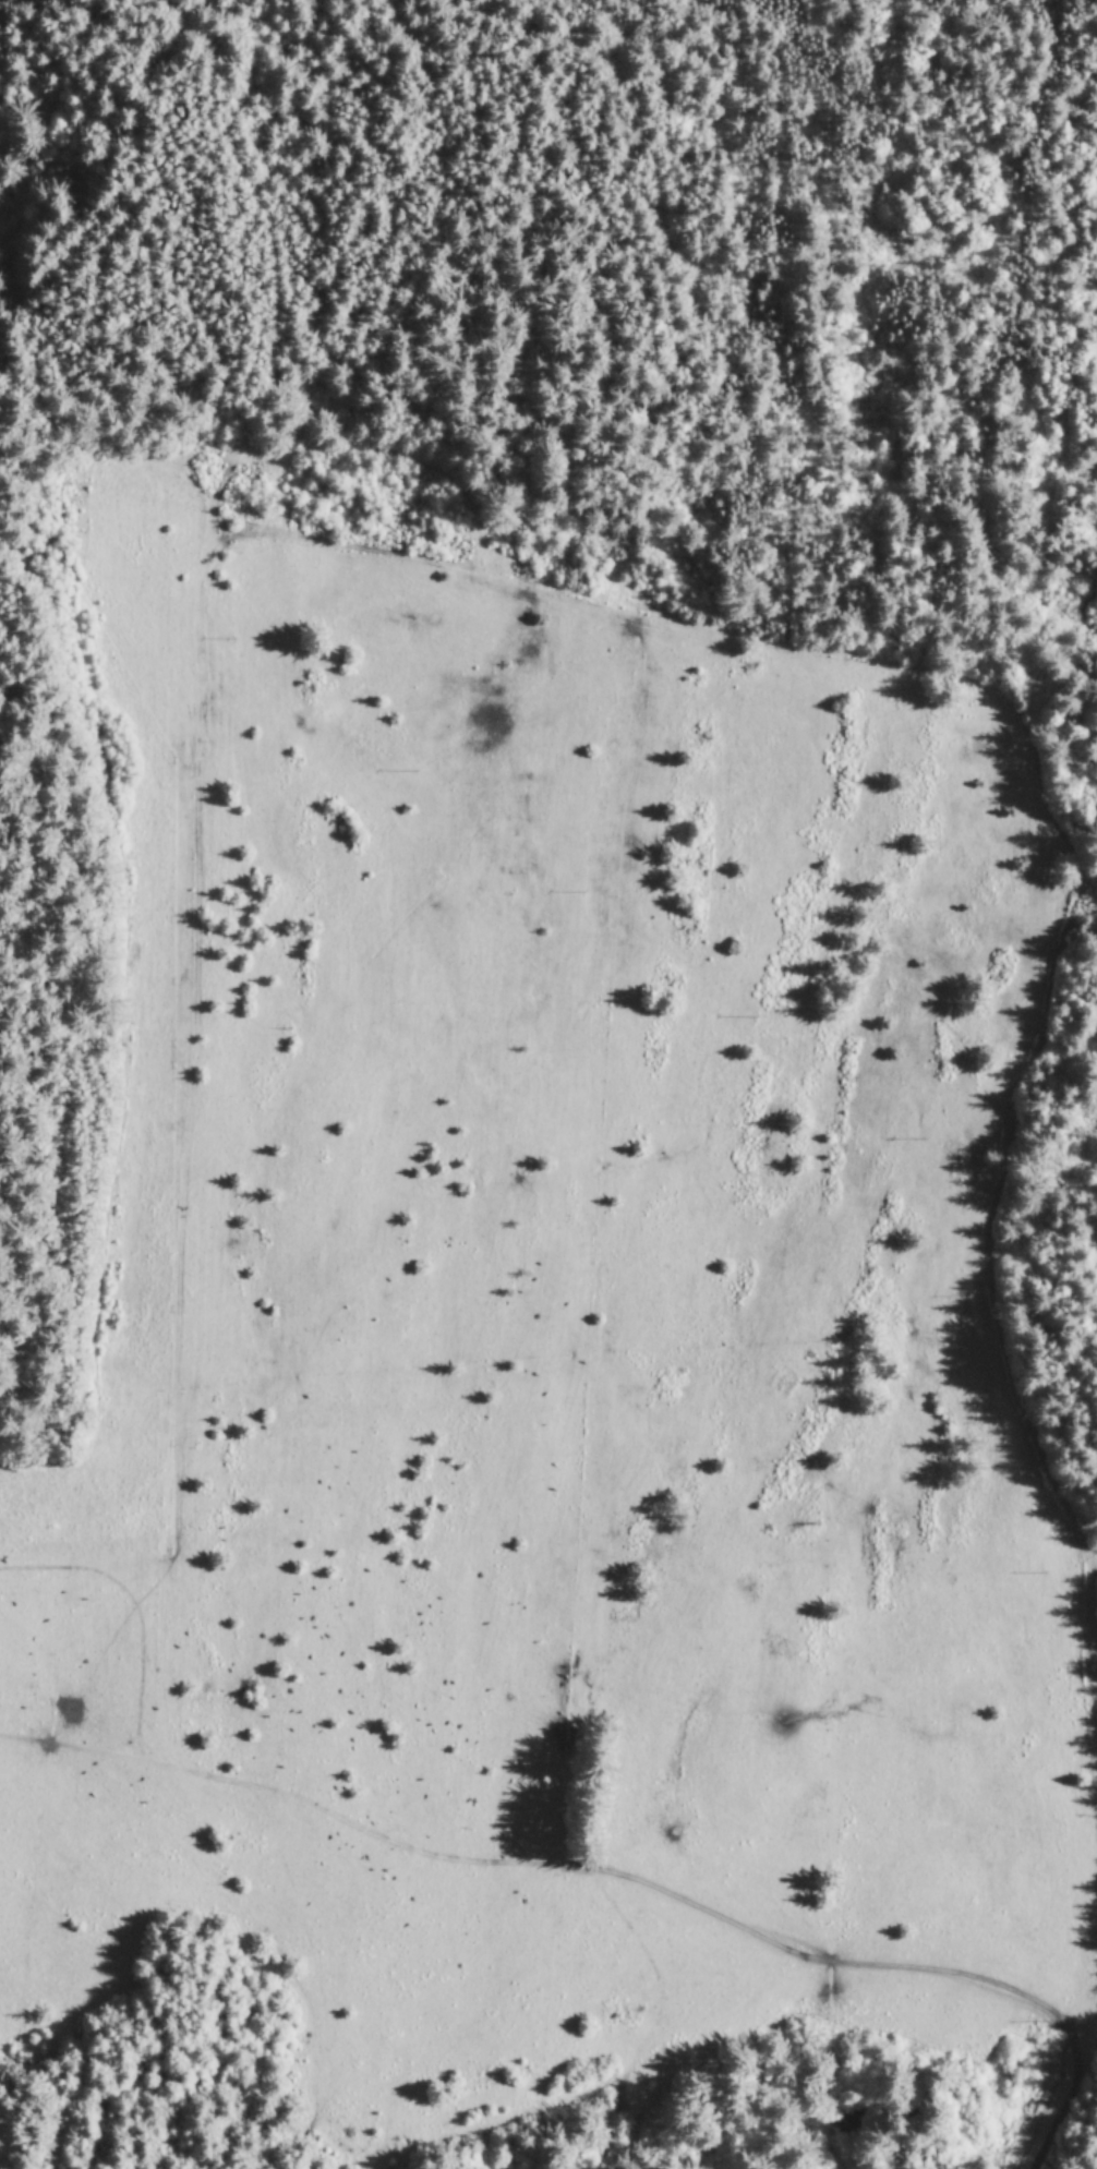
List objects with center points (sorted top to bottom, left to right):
road: (1071, 2094)

